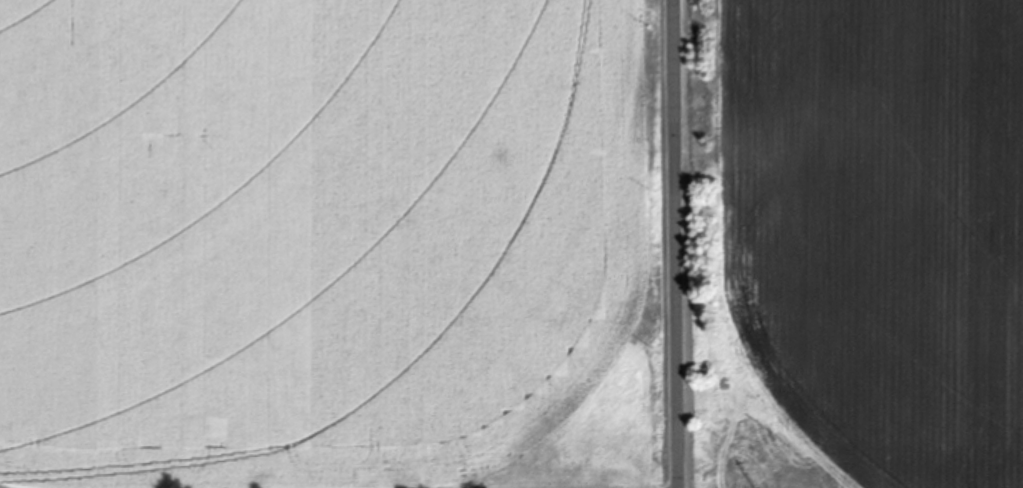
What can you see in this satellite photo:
road: (679, 243)

